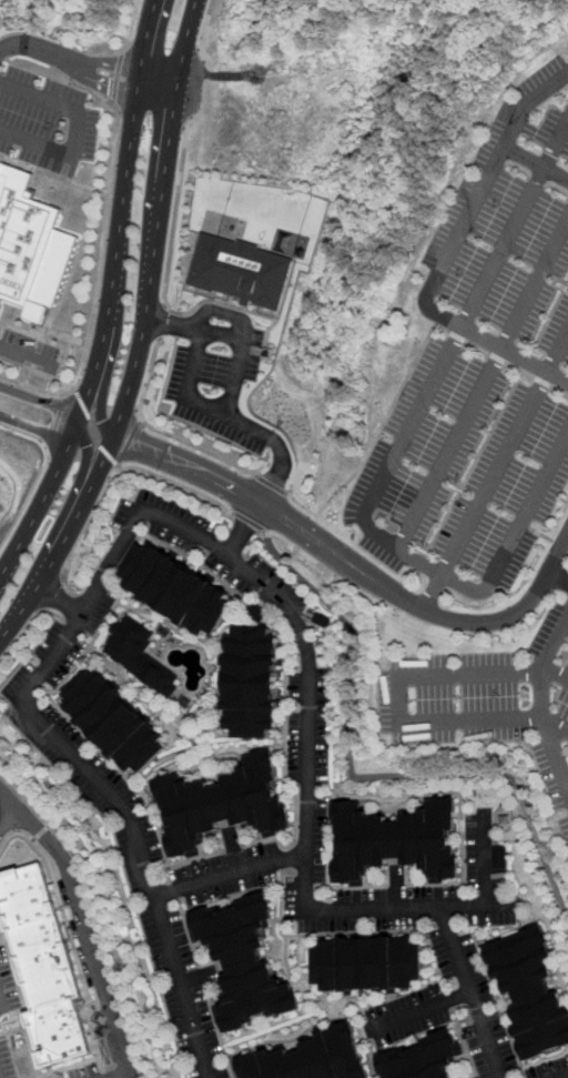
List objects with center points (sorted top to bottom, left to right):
road: (134, 28)
road: (204, 31)
road: (72, 56)
road: (119, 75)
road: (161, 84)
parking lot: (45, 122)
road: (74, 130)
road: (535, 163)
road: (64, 178)
road: (176, 211)
parking lot: (511, 235)
building: (30, 246)
road: (447, 253)
building: (242, 271)
road: (97, 282)
road: (111, 299)
road: (222, 312)
road: (162, 323)
road: (171, 323)
road: (142, 334)
road: (454, 340)
road: (193, 344)
parking lot: (28, 351)
road: (26, 360)
road: (511, 365)
parking lot: (219, 374)
road: (148, 381)
road: (40, 400)
road: (103, 404)
road: (58, 420)
road: (75, 426)
road: (37, 430)
road: (94, 430)
road: (379, 431)
road: (26, 433)
road: (130, 445)
road: (201, 450)
road: (85, 466)
road: (281, 466)
road: (494, 471)
parking lot: (460, 474)
road: (115, 475)
road: (275, 486)
road: (29, 501)
road: (415, 511)
road: (252, 524)
road: (246, 530)
parking lot: (561, 533)
road: (556, 550)
road: (346, 561)
building: (177, 592)
road: (52, 595)
road: (60, 601)
road: (565, 626)
road: (21, 638)
building: (142, 658)
road: (542, 663)
building: (252, 685)
road: (397, 698)
parking lot: (487, 698)
building: (112, 726)
road: (55, 742)
road: (554, 755)
road: (352, 775)
road: (26, 800)
road: (8, 805)
building: (220, 807)
parking lot: (564, 828)
road: (39, 832)
building: (396, 846)
building: (500, 857)
road: (226, 872)
road: (304, 875)
road: (486, 887)
road: (84, 929)
building: (242, 964)
building: (43, 967)
building: (366, 969)
parking lot: (8, 984)
building: (531, 995)
building: (306, 1060)
building: (424, 1061)
road: (123, 1077)
road: (128, 1077)

